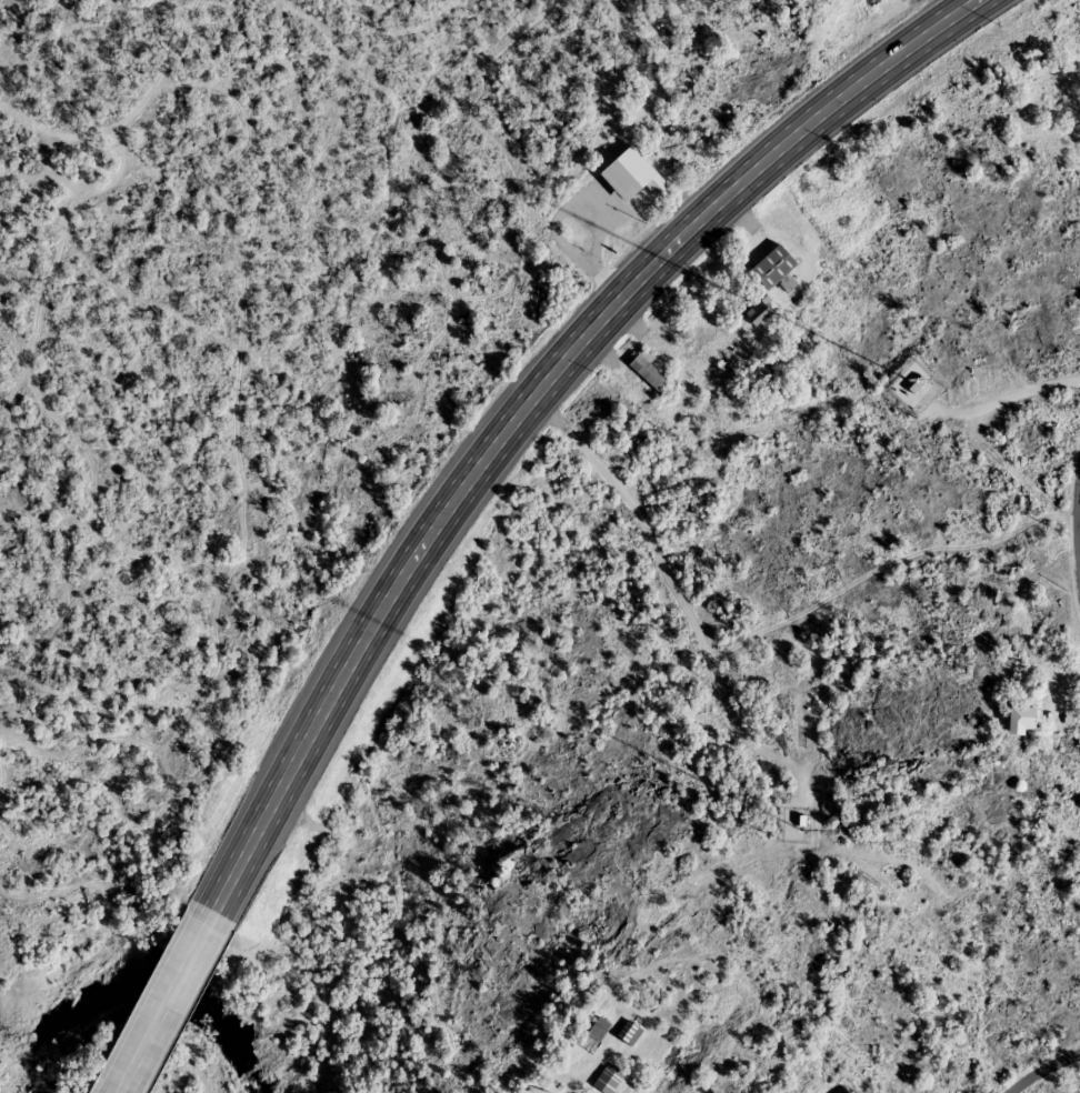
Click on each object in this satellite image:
building: (633, 176)
building: (773, 268)
building: (760, 309)
building: (731, 363)
building: (649, 372)
building: (909, 381)
road: (519, 400)
road: (1074, 522)
road: (671, 595)
building: (1022, 719)
road: (164, 1004)
building: (599, 1029)
building: (630, 1032)
road: (1037, 1065)
building: (608, 1079)
road: (564, 1089)

